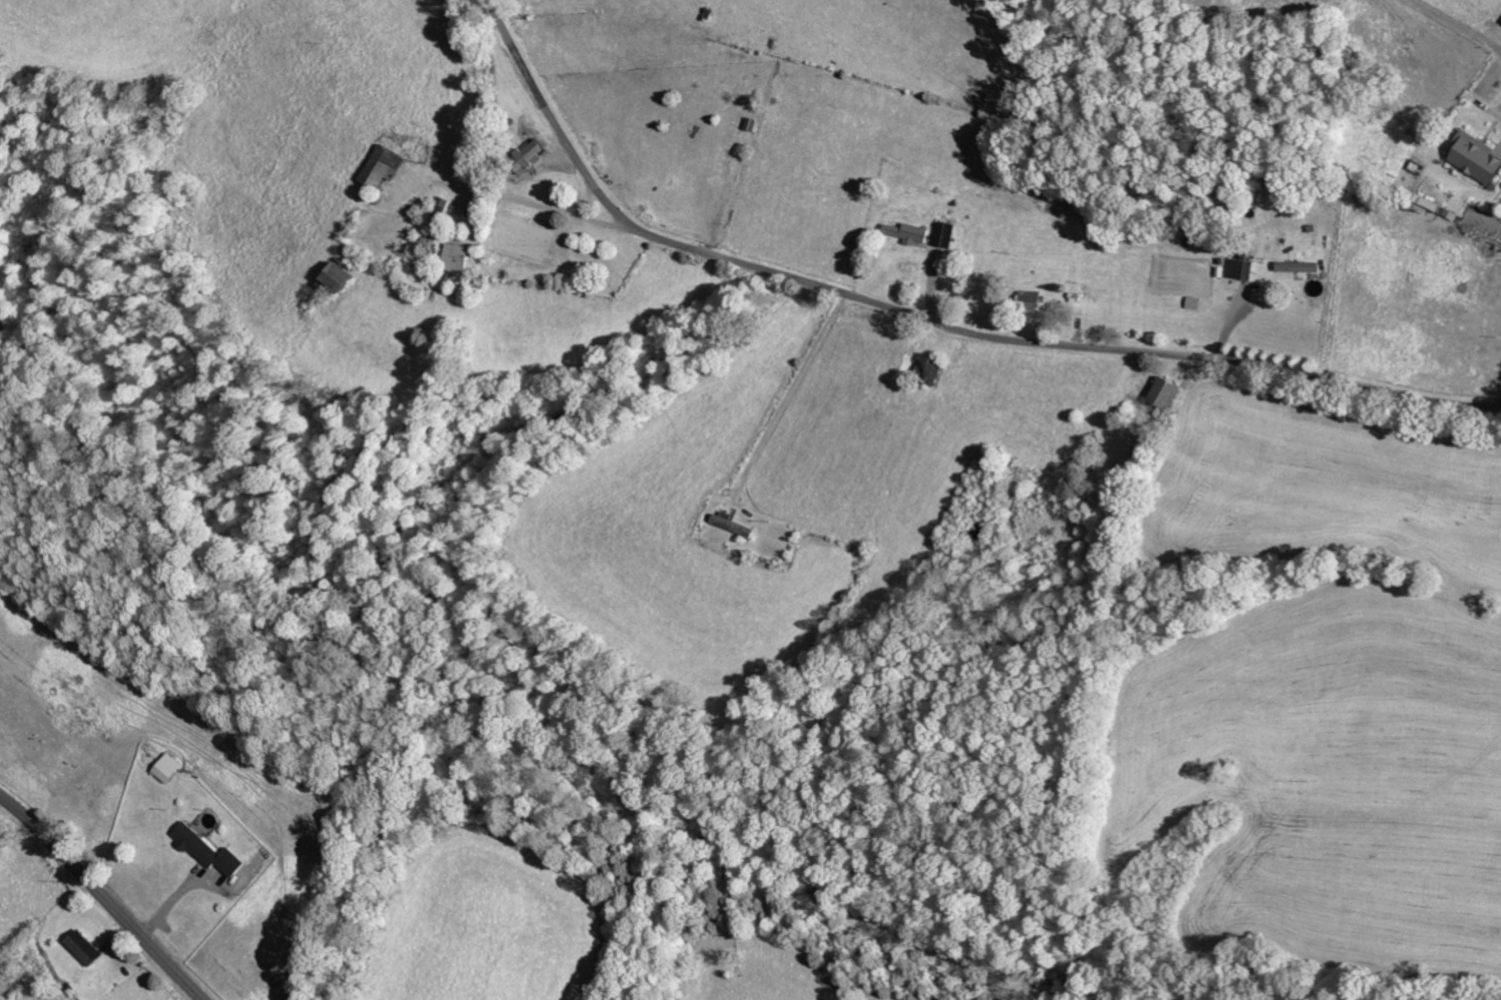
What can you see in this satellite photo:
road: (539, 97)
building: (528, 155)
building: (1474, 155)
building: (380, 165)
road: (536, 204)
building: (909, 230)
building: (944, 233)
building: (453, 256)
building: (1297, 265)
building: (1239, 267)
building: (335, 275)
building: (1029, 300)
road: (1036, 343)
building: (1164, 390)
building: (730, 523)
building: (166, 767)
building: (206, 850)
road: (103, 896)
building: (84, 947)

